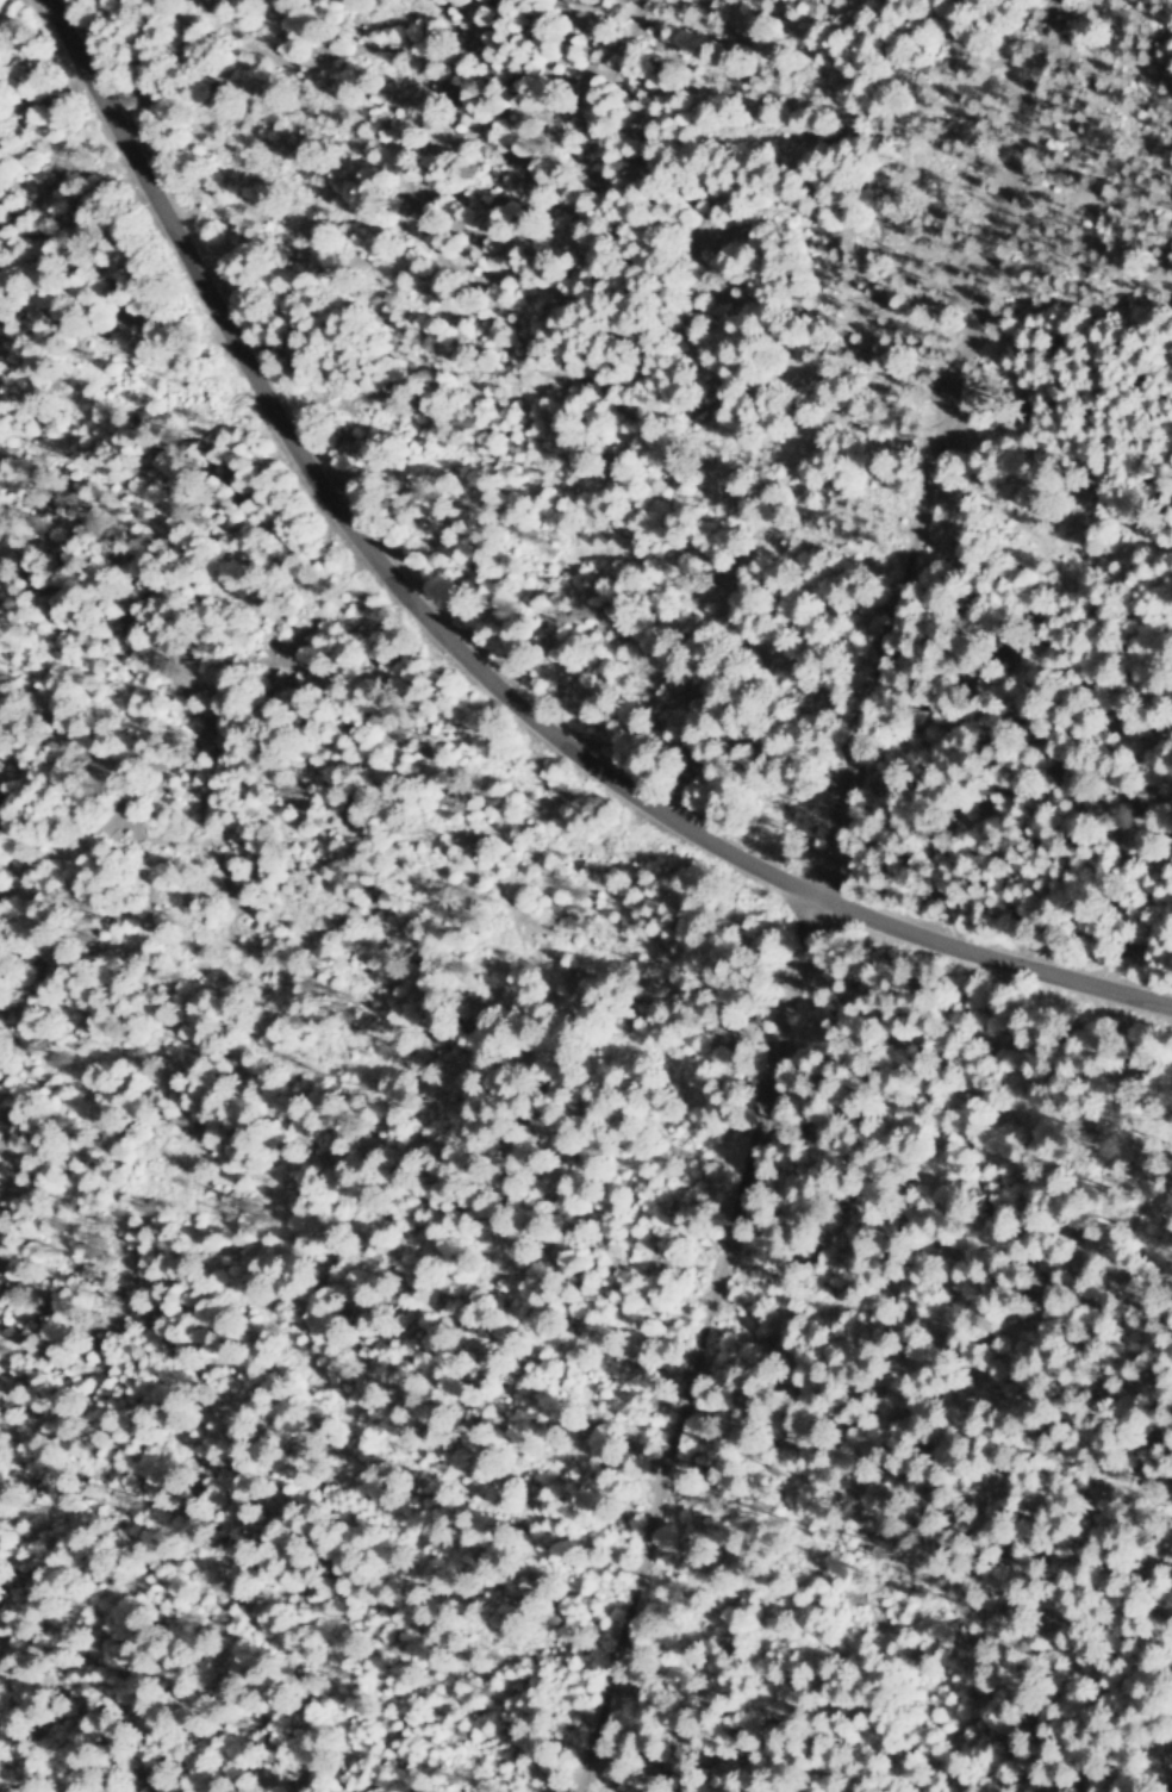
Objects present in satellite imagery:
road: (472, 661)
road: (822, 898)
road: (1170, 1784)

